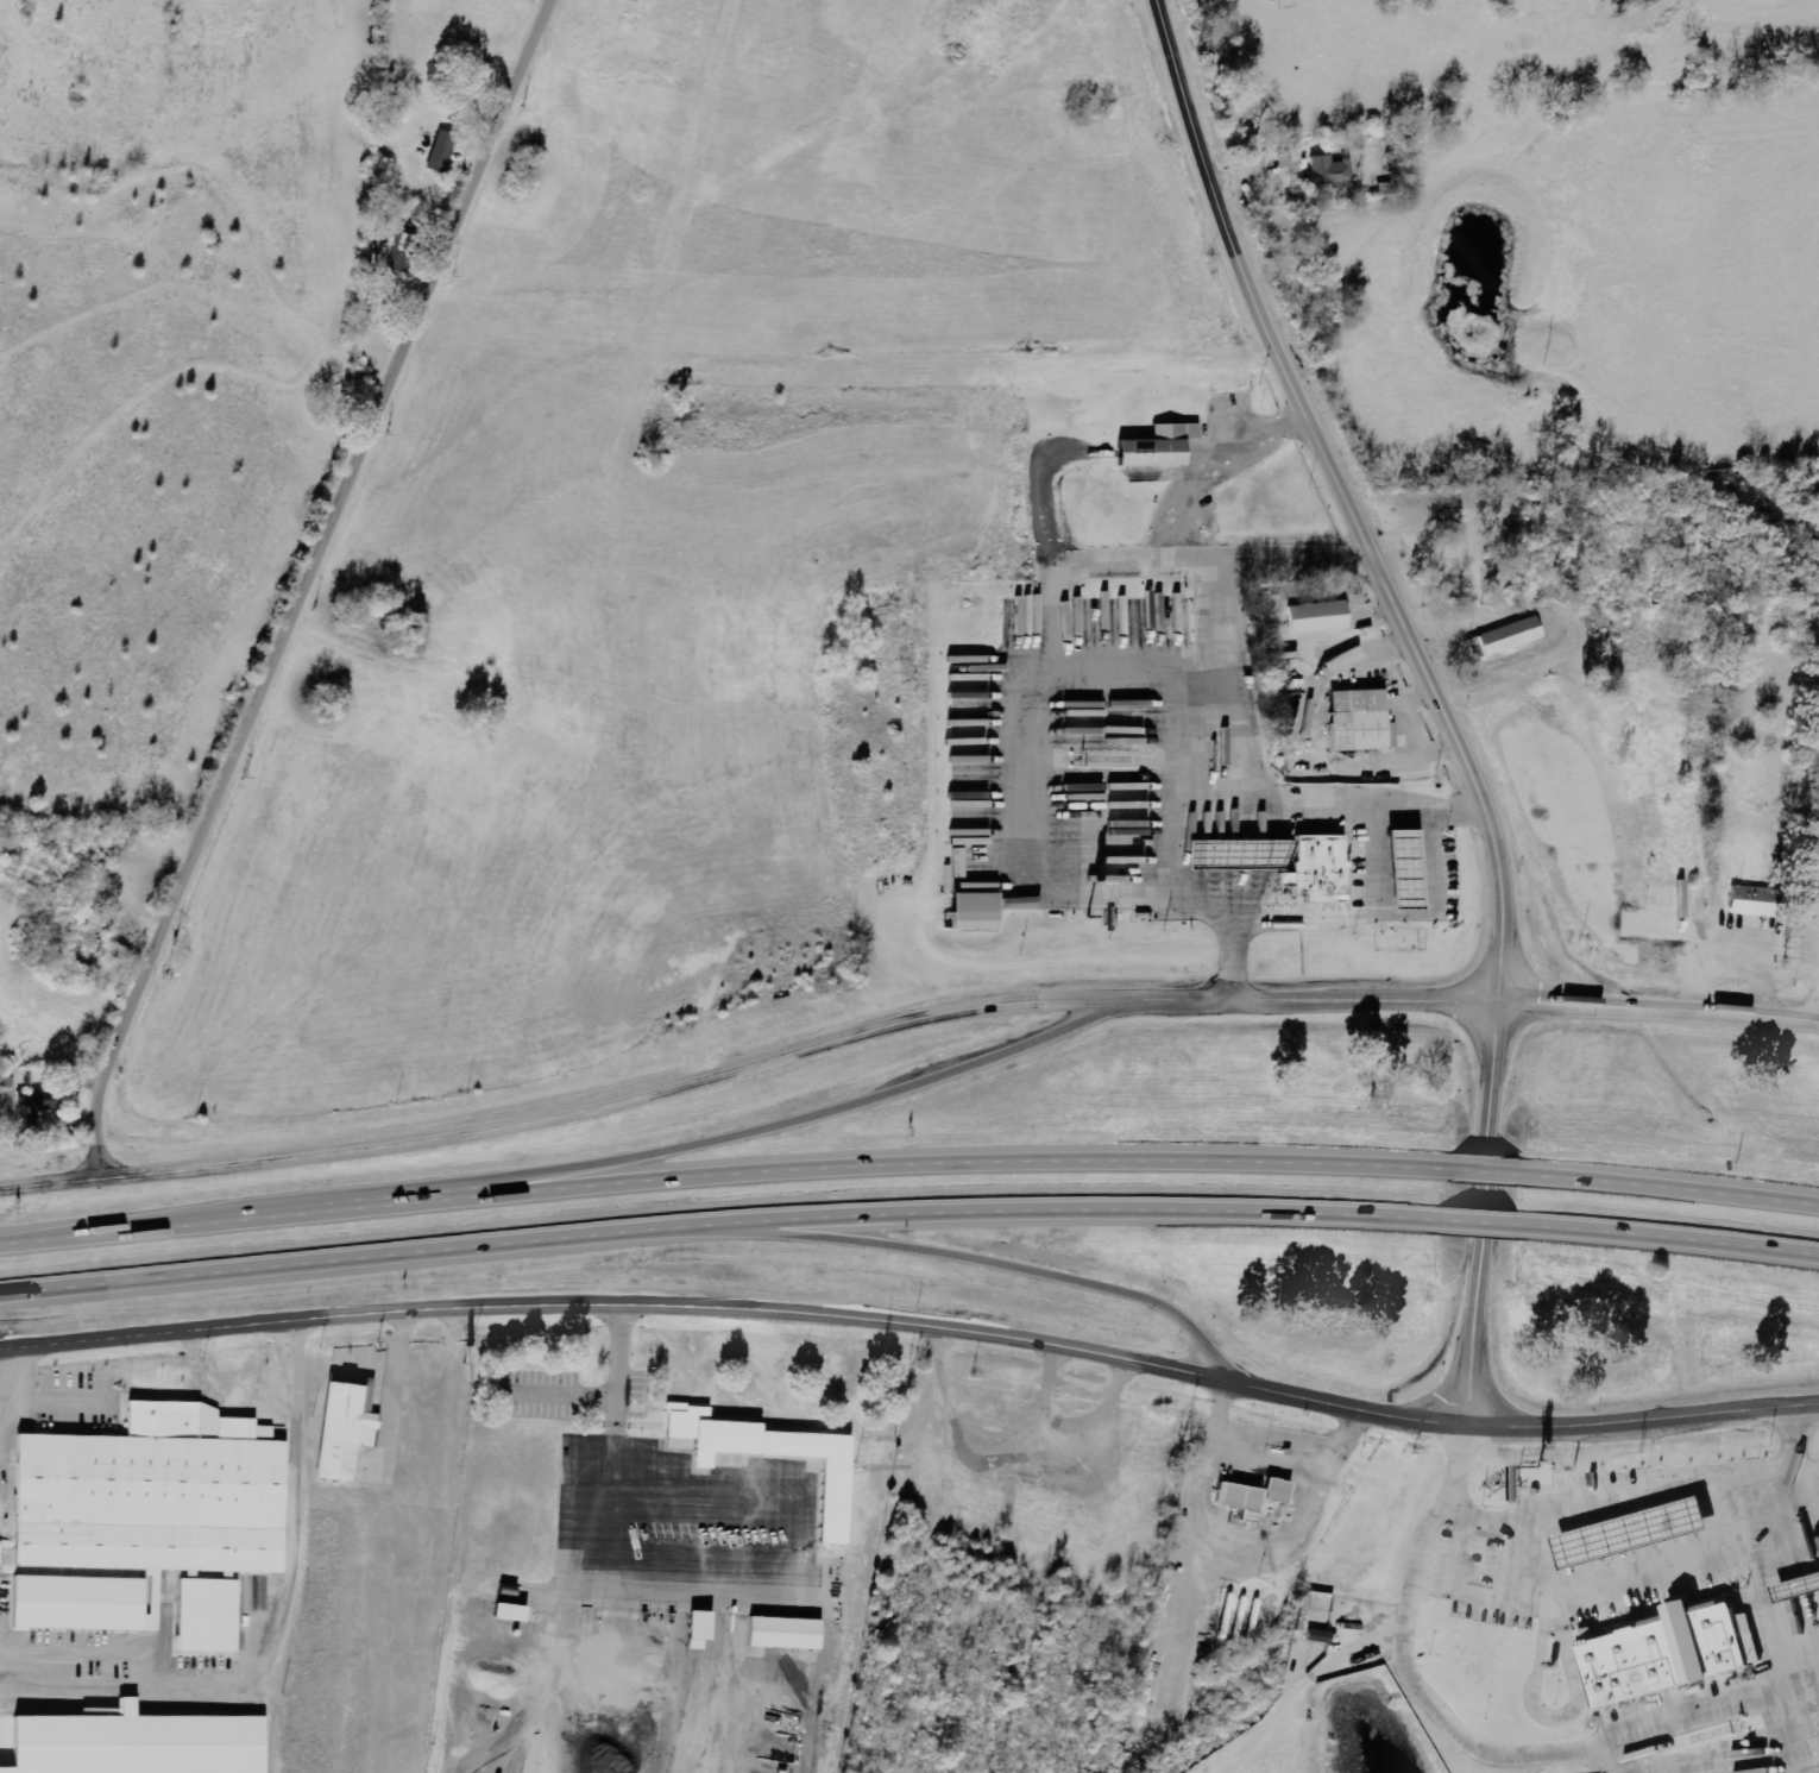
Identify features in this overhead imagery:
building: (436, 151)
building: (1324, 171)
building: (397, 251)
building: (1154, 447)
road: (306, 587)
building: (1171, 612)
building: (1316, 617)
building: (1503, 637)
road: (1430, 689)
building: (1352, 717)
road: (1397, 806)
building: (1229, 856)
gas station: (1229, 856)
road: (1373, 856)
road: (1433, 856)
building: (1315, 868)
building: (1402, 873)
gas station: (1402, 873)
building: (1745, 901)
building: (971, 912)
road: (950, 1007)
building: (45, 1102)
building: (31, 1107)
road: (742, 1133)
road: (1484, 1171)
road: (719, 1174)
road: (49, 1184)
road: (1673, 1184)
road: (1484, 1221)
road: (722, 1224)
road: (1669, 1240)
road: (970, 1257)
road: (742, 1307)
road: (194, 1358)
road: (8, 1371)
road: (48, 1397)
road: (1648, 1419)
building: (339, 1429)
road: (1796, 1440)
road: (1460, 1456)
building: (1276, 1490)
building: (162, 1496)
building: (1238, 1498)
road: (1631, 1501)
building: (830, 1504)
building: (1631, 1532)
gas station: (1631, 1532)
building: (1795, 1590)
gas station: (1795, 1590)
building: (83, 1604)
road: (1478, 1607)
building: (218, 1616)
road: (270, 1623)
building: (694, 1629)
building: (780, 1633)
building: (1666, 1654)
building: (187, 1744)
road: (1503, 1756)

